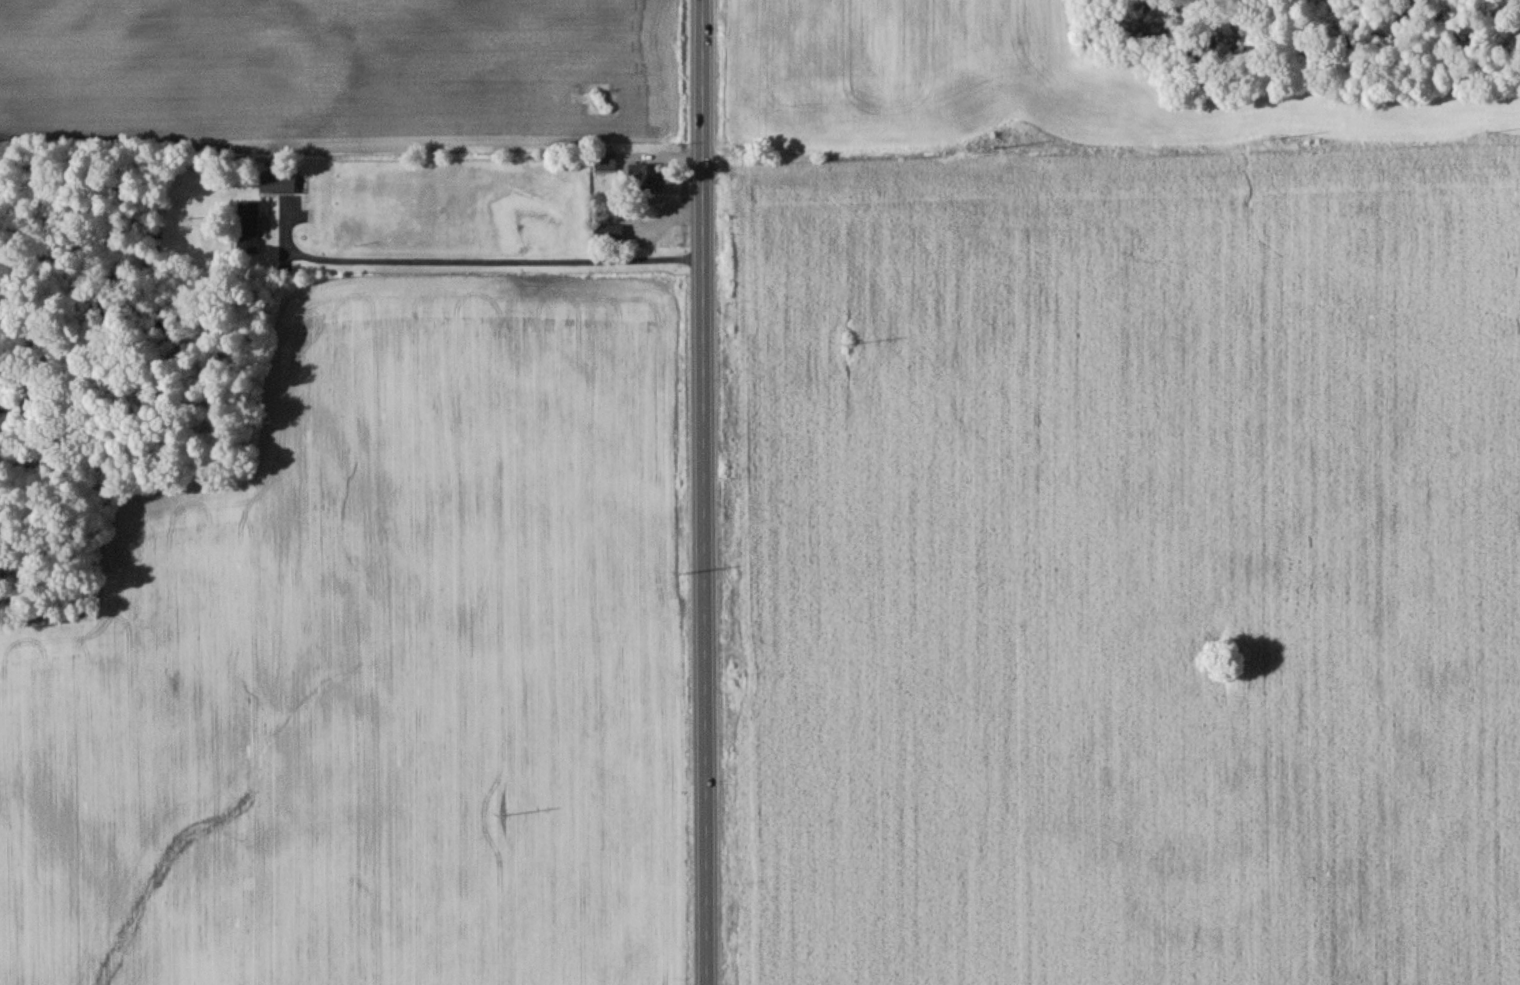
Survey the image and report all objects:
building: (605, 162)
building: (642, 178)
building: (277, 182)
building: (247, 226)
building: (608, 232)
road: (473, 248)
road: (702, 492)

